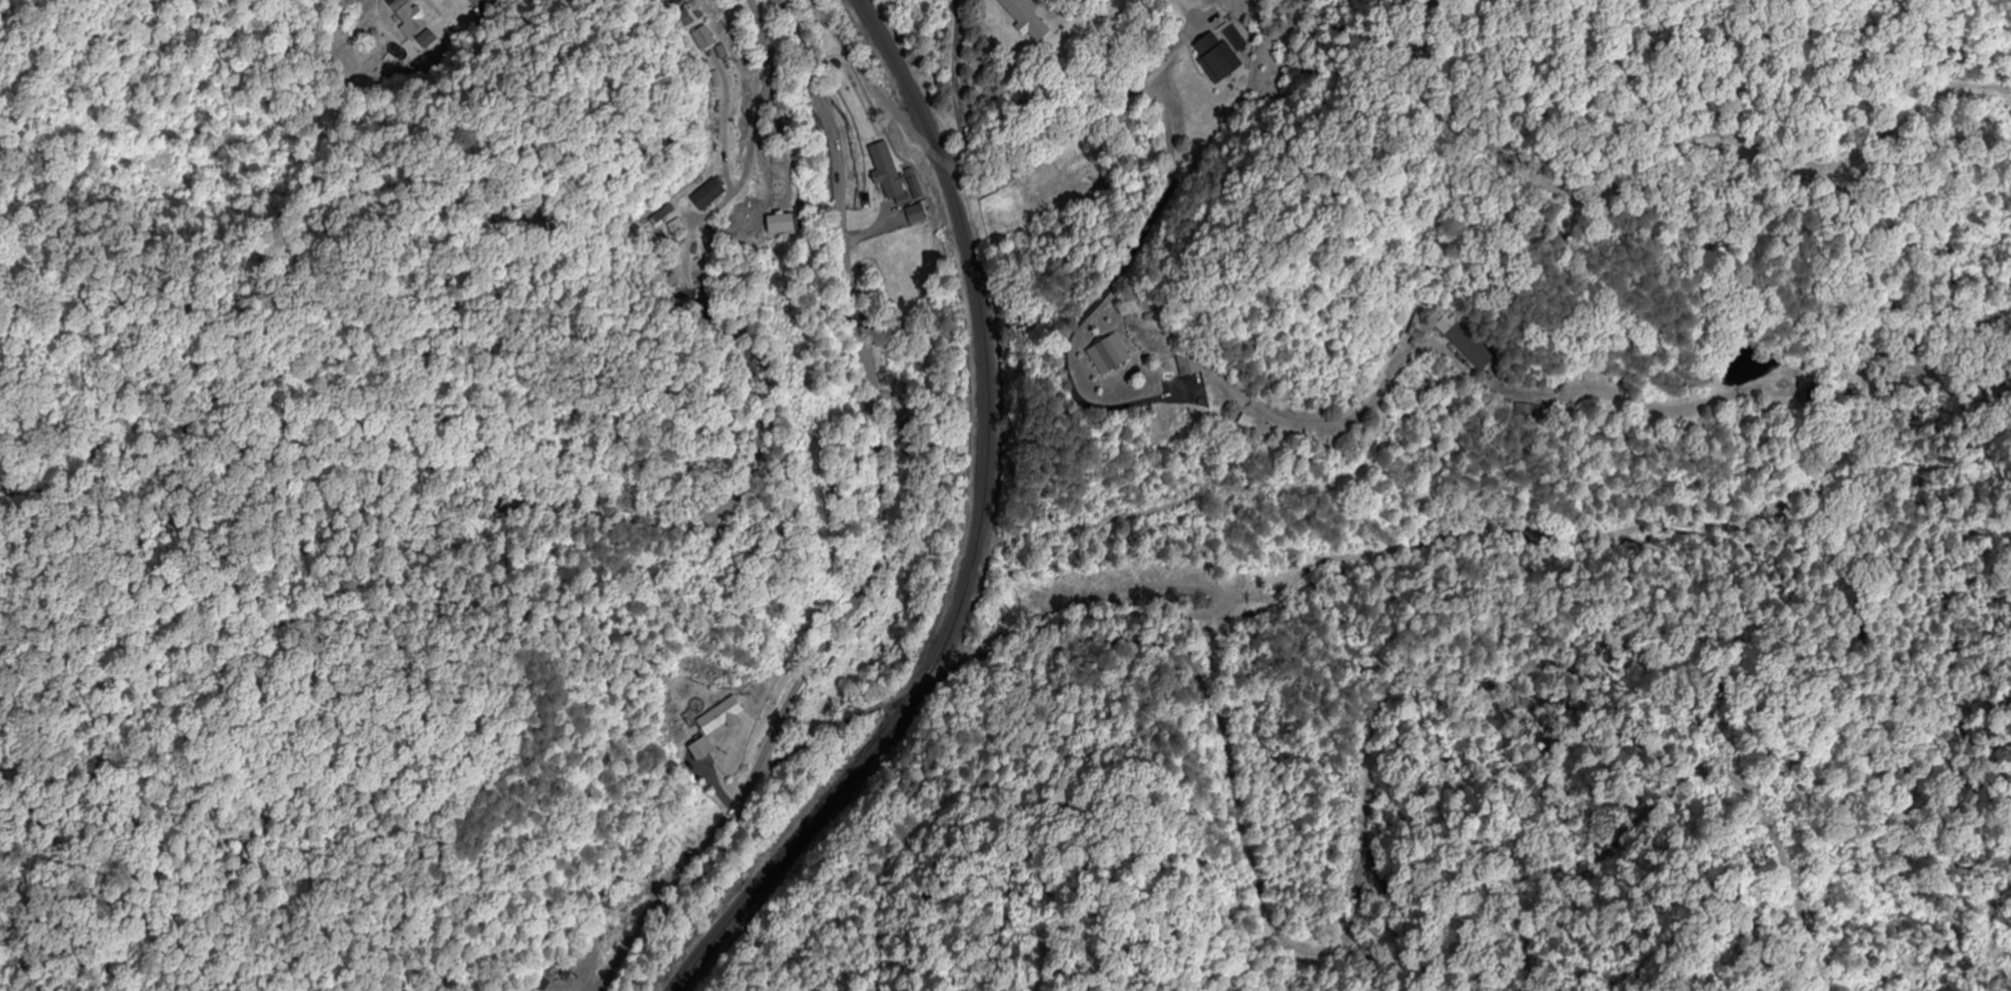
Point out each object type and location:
building: (491, 2)
building: (678, 2)
building: (409, 18)
building: (1030, 19)
building: (712, 40)
road: (158, 43)
building: (1219, 59)
building: (731, 122)
building: (889, 171)
building: (790, 224)
building: (1471, 348)
building: (1118, 358)
building: (1183, 367)
building: (875, 378)
building: (1594, 400)
building: (894, 433)
road: (917, 533)
railway: (976, 533)
building: (726, 716)
building: (706, 750)
building: (532, 989)

